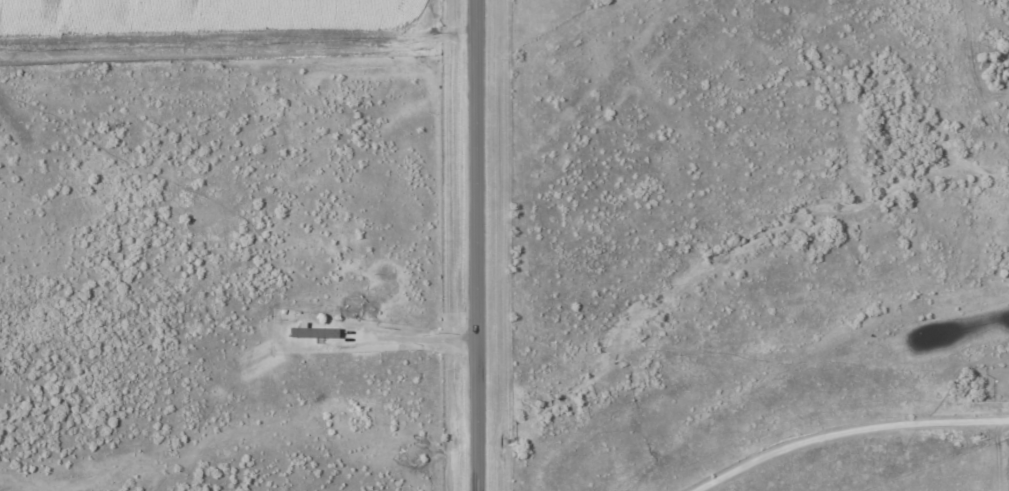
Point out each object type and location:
crop: (195, 19)
road: (456, 38)
road: (219, 48)
road: (474, 245)
building: (313, 332)
road: (385, 335)
road: (456, 341)
road: (848, 417)

